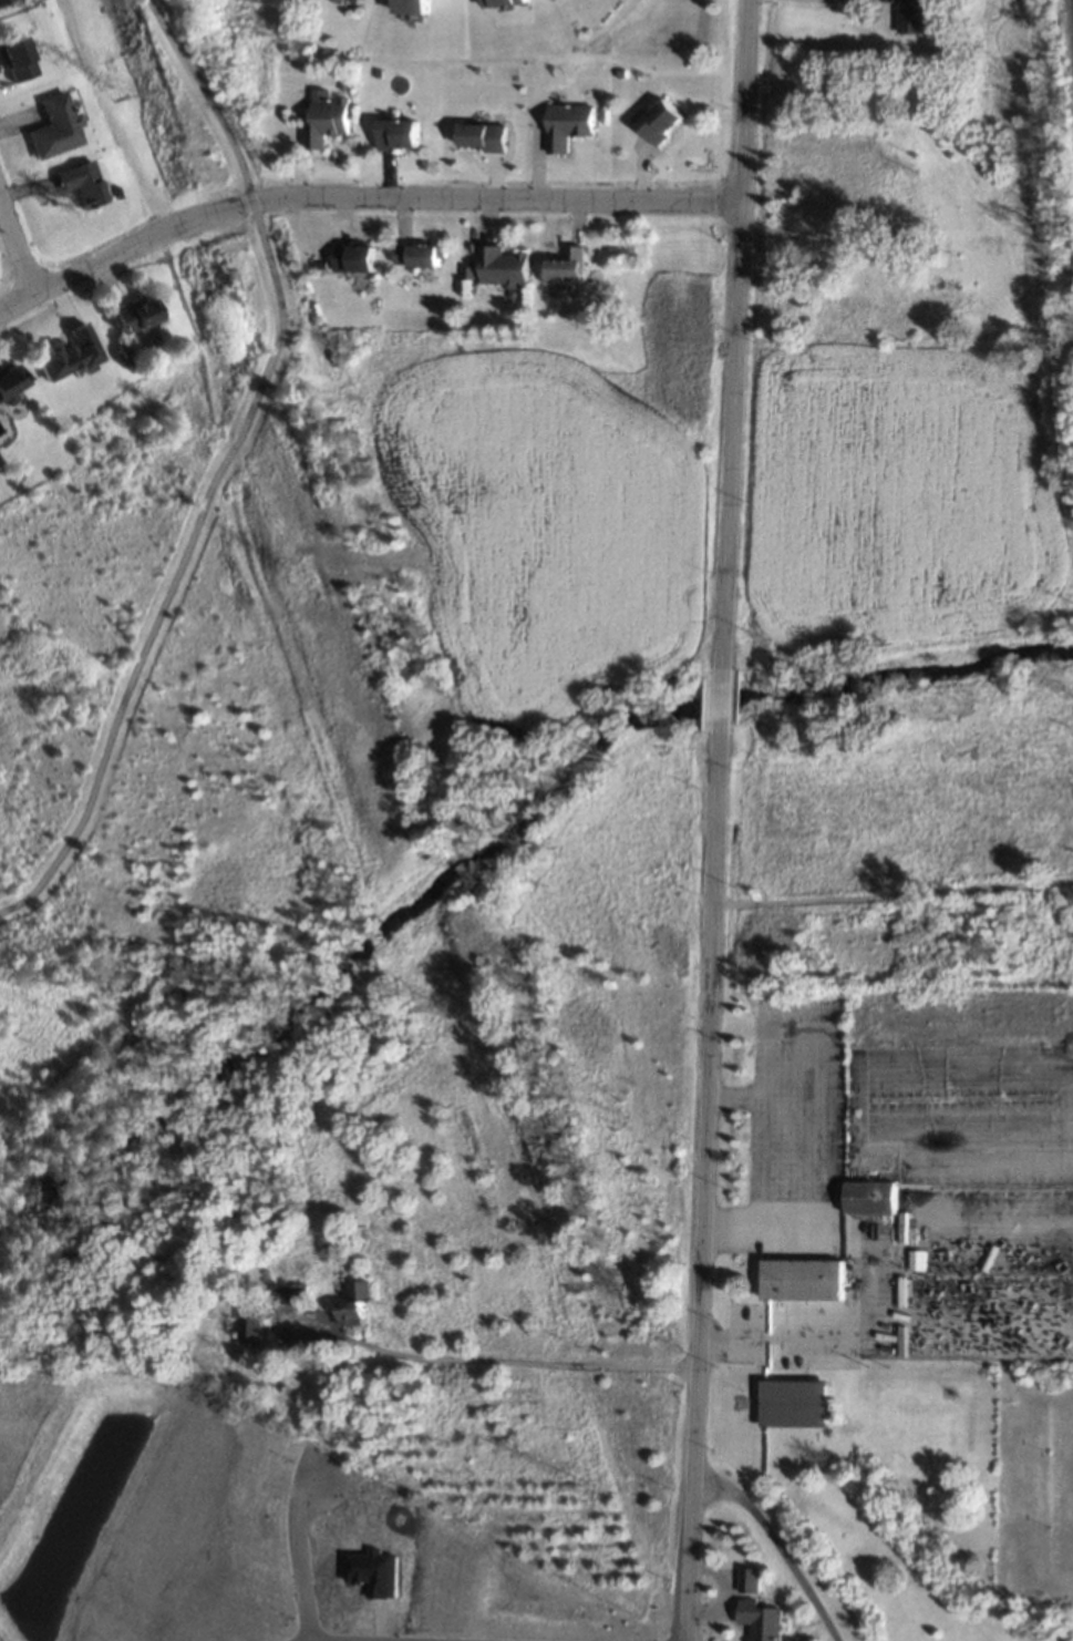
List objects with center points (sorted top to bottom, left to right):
building: (2, 0)
building: (341, 1)
building: (357, 1)
building: (503, 2)
building: (413, 7)
building: (909, 17)
building: (14, 59)
building: (379, 71)
building: (621, 73)
building: (513, 74)
road: (743, 100)
building: (327, 121)
building: (660, 122)
building: (567, 124)
building: (53, 126)
building: (398, 134)
building: (483, 136)
building: (80, 182)
building: (844, 185)
road: (494, 197)
building: (910, 224)
road: (17, 242)
road: (121, 249)
building: (417, 255)
building: (352, 258)
building: (502, 265)
building: (565, 267)
building: (467, 273)
building: (134, 314)
building: (124, 350)
building: (68, 353)
building: (8, 384)
road: (732, 439)
road: (223, 468)
park: (902, 667)
park: (577, 676)
road: (723, 700)
park: (434, 818)
river: (502, 847)
park: (184, 898)
road: (715, 899)
road: (763, 1163)
building: (870, 1198)
building: (266, 1275)
building: (801, 1280)
building: (291, 1293)
building: (353, 1304)
building: (254, 1323)
road: (729, 1344)
road: (698, 1357)
road: (491, 1362)
building: (792, 1404)
road: (778, 1546)
building: (376, 1571)
building: (751, 1579)
building: (760, 1621)
road: (466, 1634)

